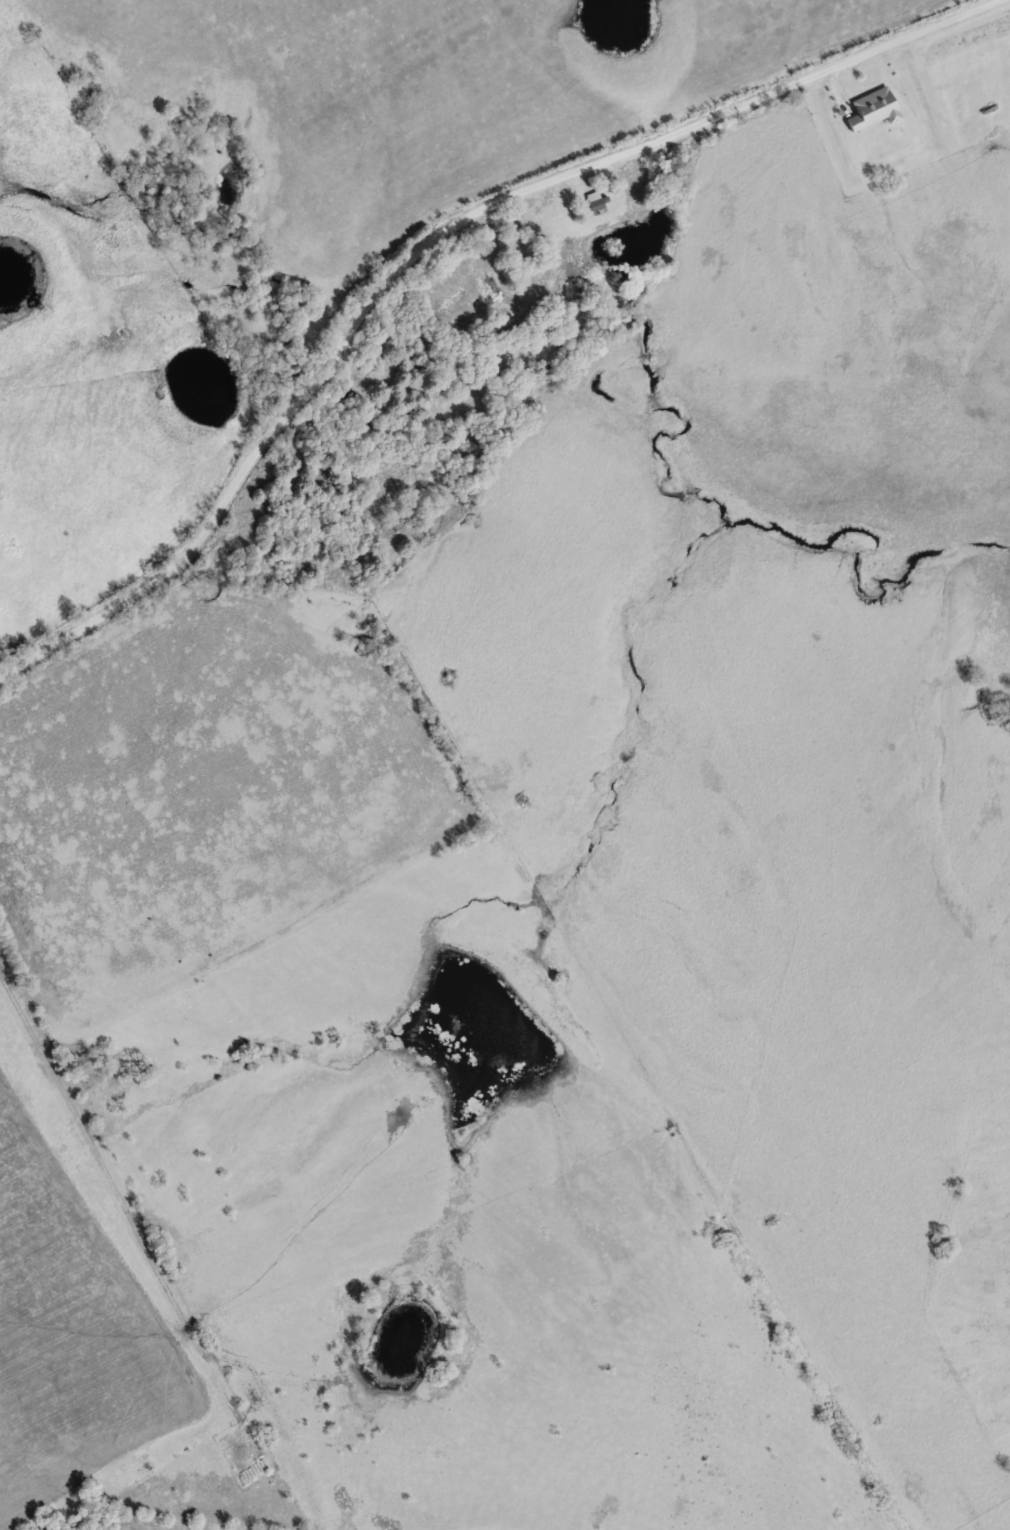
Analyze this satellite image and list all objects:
building: (871, 107)
building: (591, 200)
road: (428, 243)

